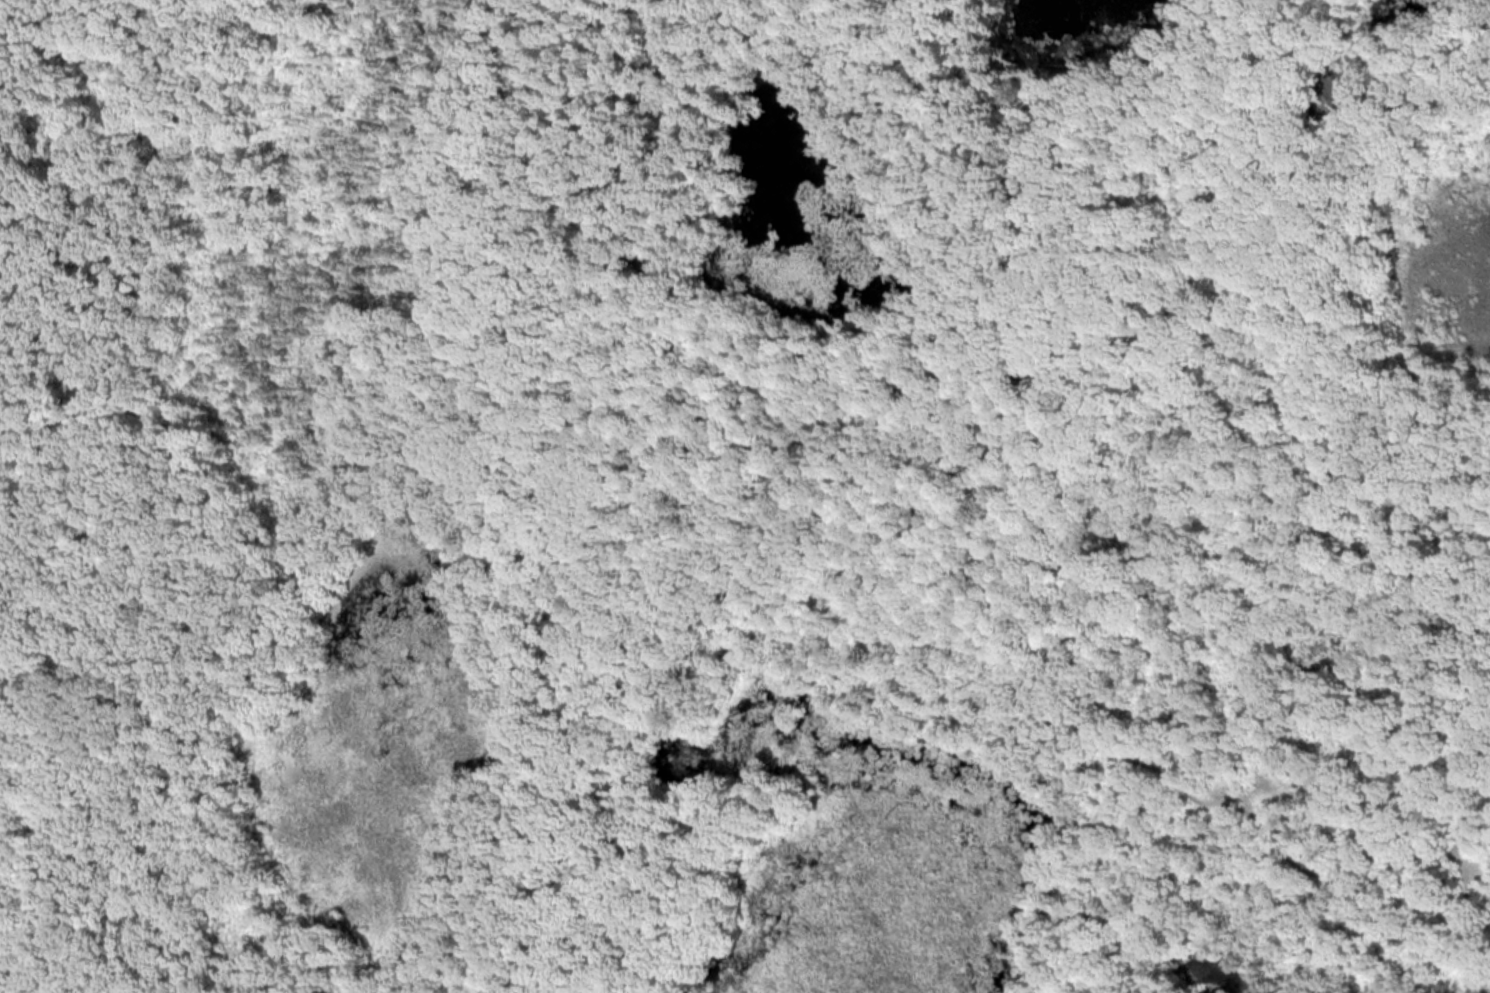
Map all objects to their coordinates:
road: (2, 9)
park: (745, 496)

